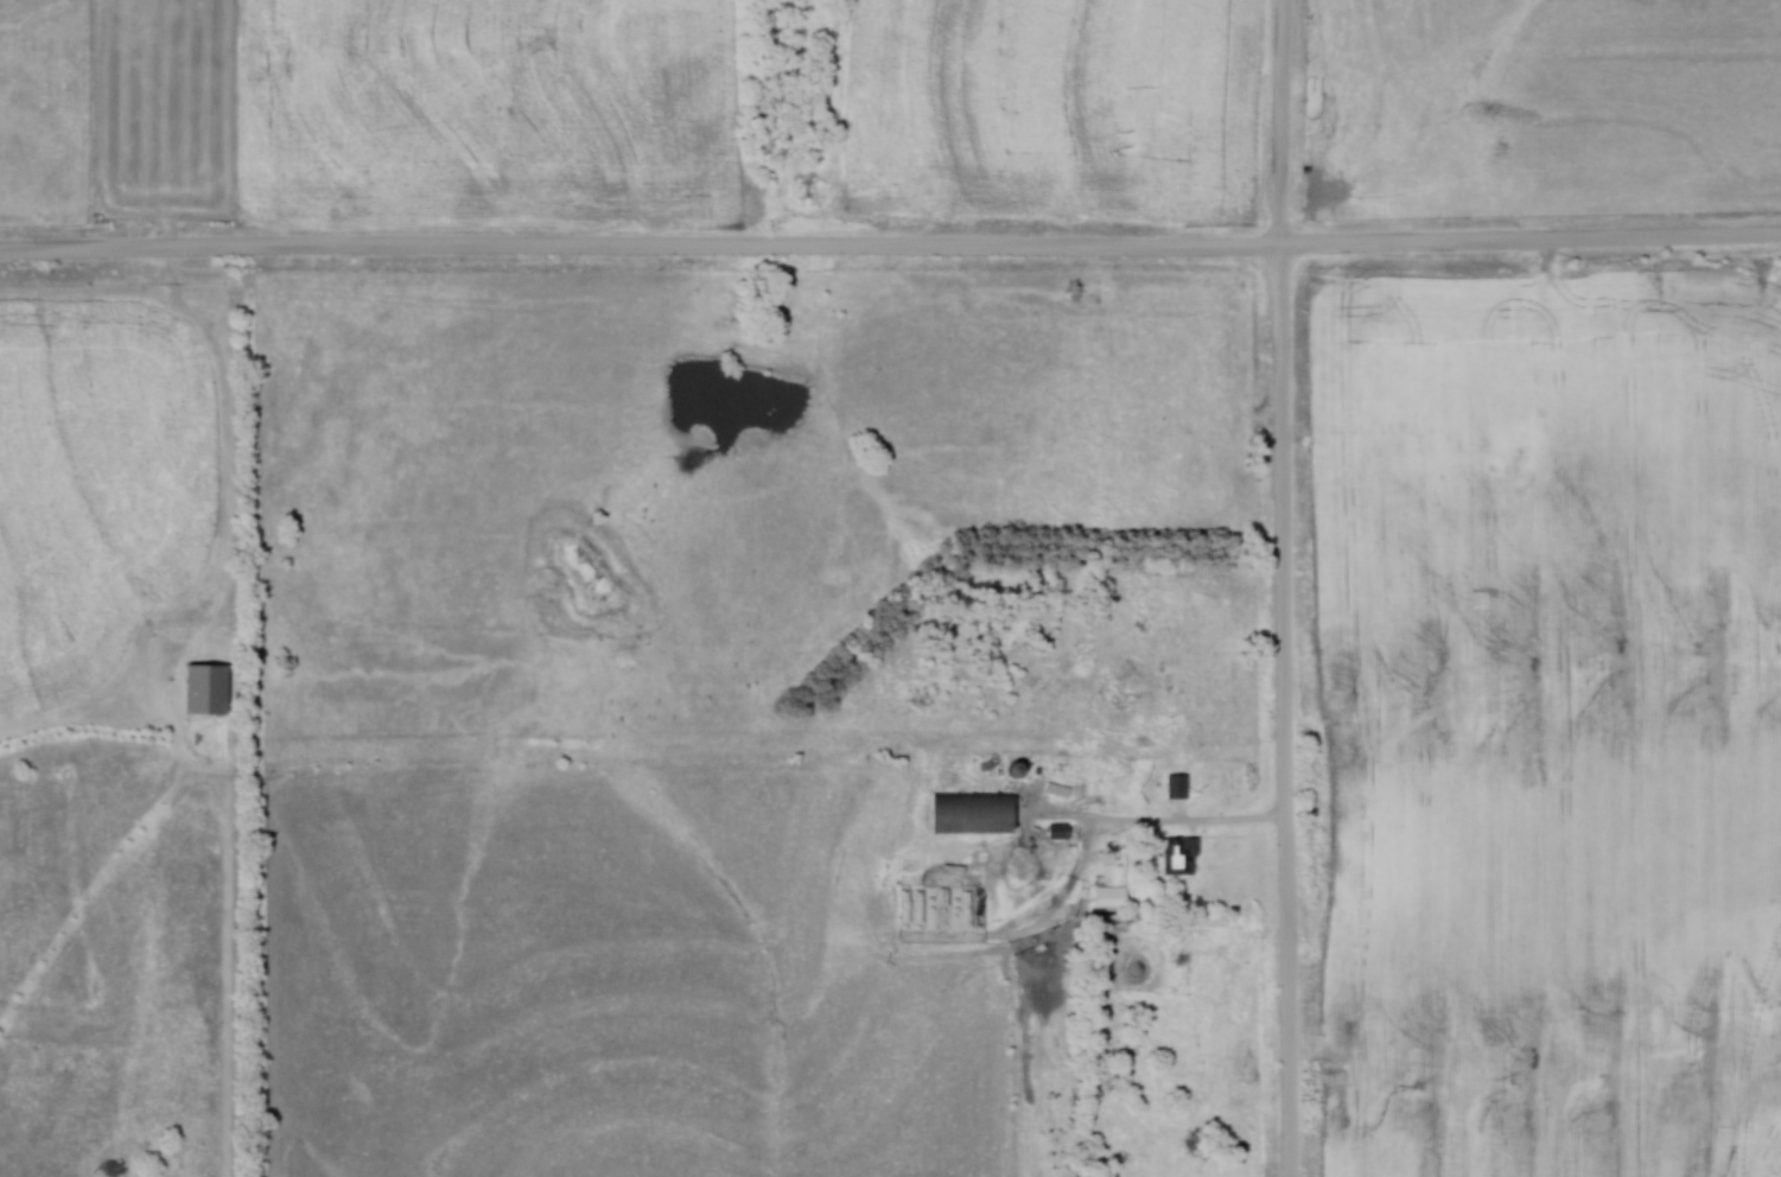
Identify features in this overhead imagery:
road: (890, 250)
road: (1284, 587)
building: (208, 688)
building: (1178, 785)
building: (1102, 791)
building: (974, 813)
road: (1196, 823)
building: (1058, 832)
building: (1181, 855)
road: (1038, 867)
building: (1112, 896)

